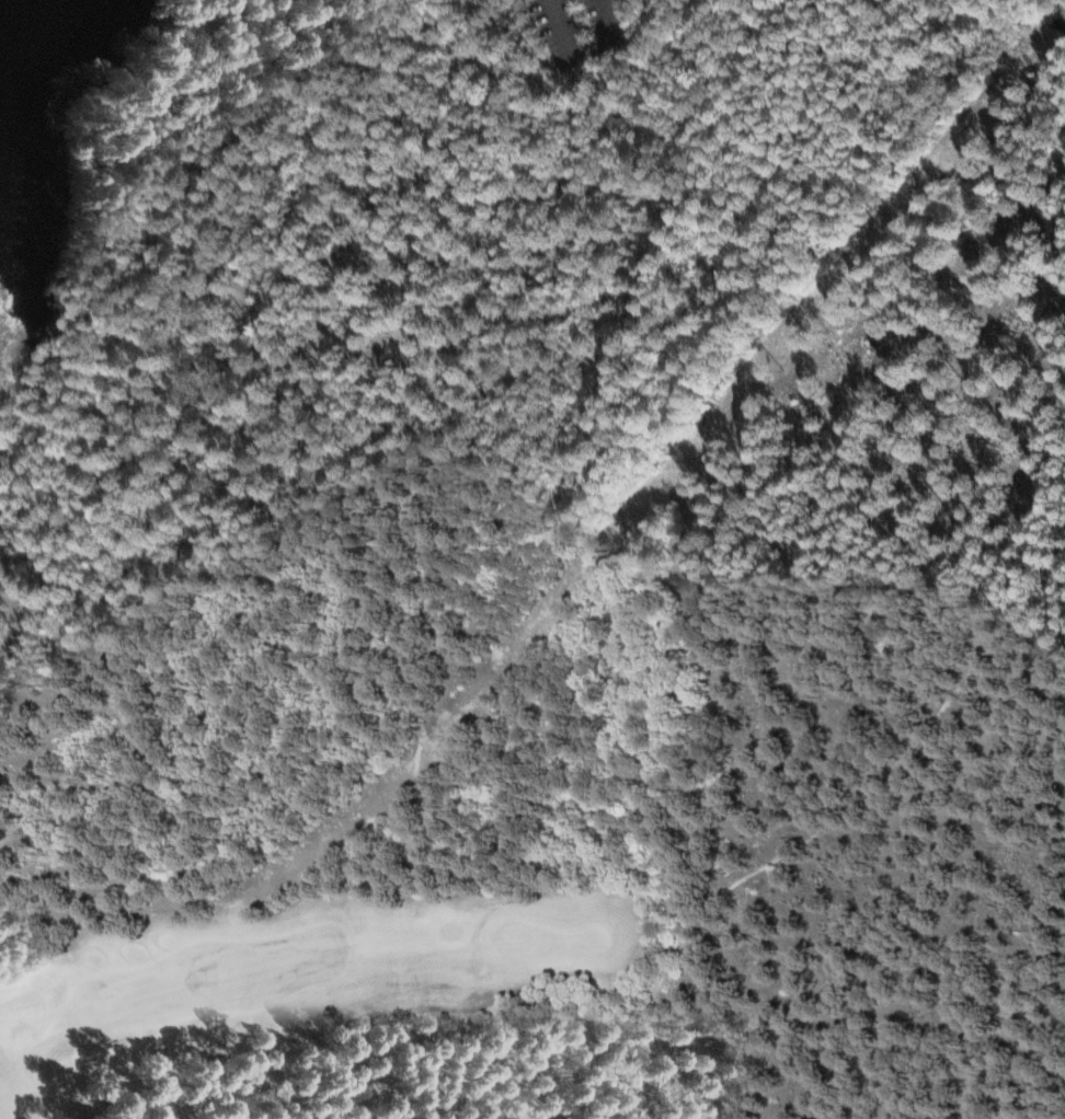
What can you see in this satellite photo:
parking lot: (553, 0)
road: (168, 367)
park: (59, 459)
park: (350, 999)
road: (394, 1015)

